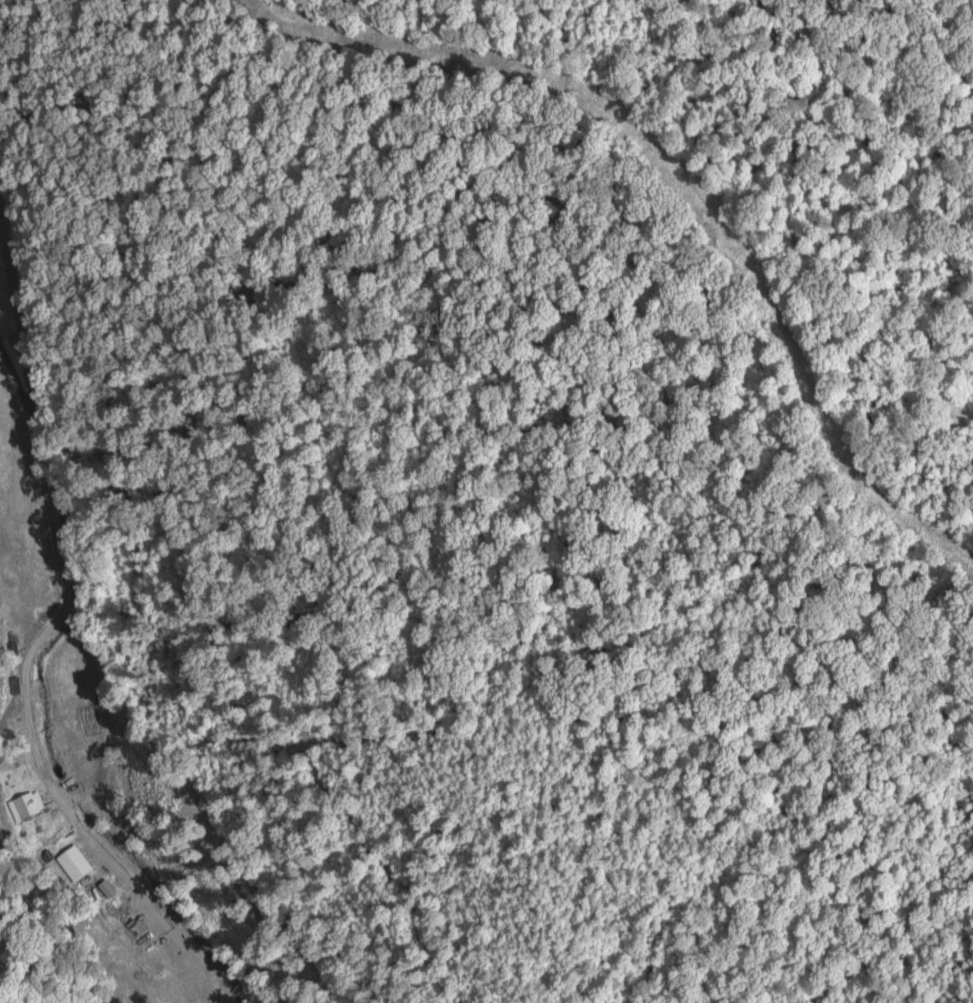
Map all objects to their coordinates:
road: (34, 695)
building: (25, 805)

